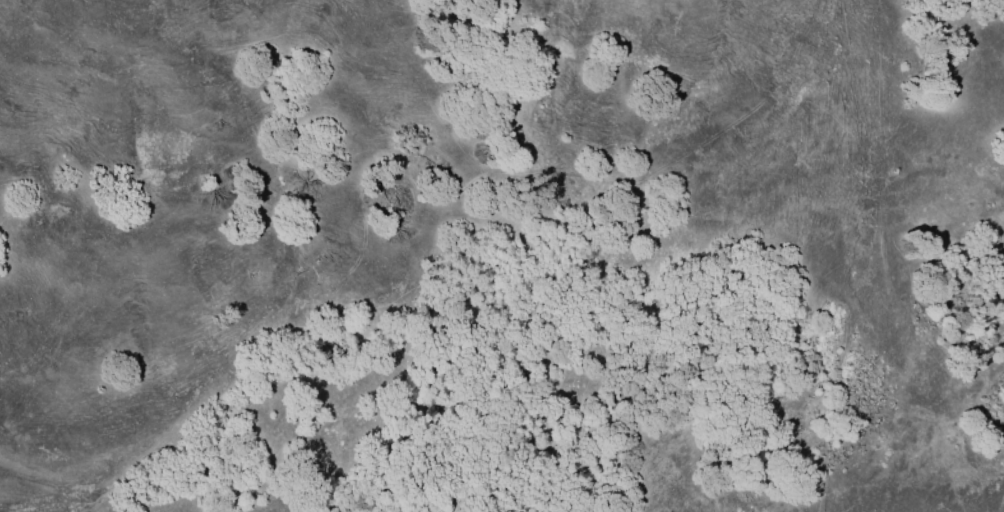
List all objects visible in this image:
crop: (32, 480)

